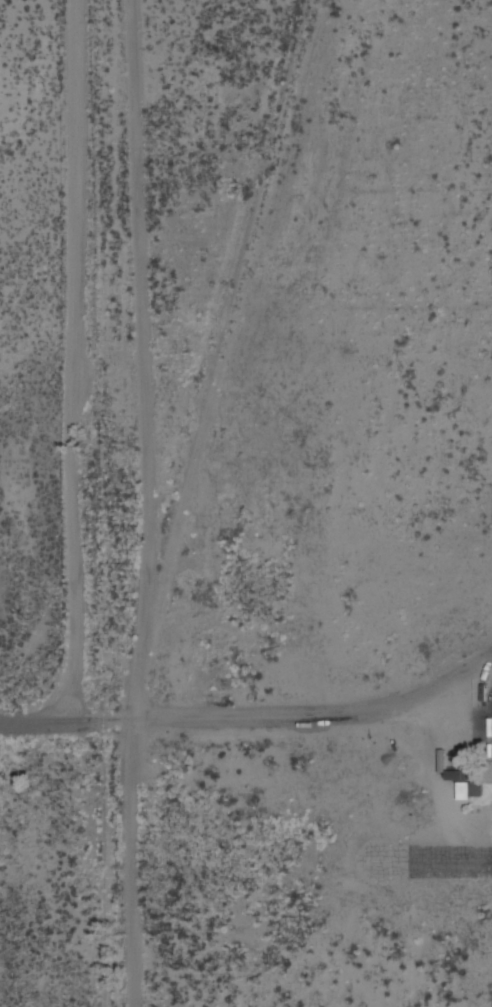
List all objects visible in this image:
road: (70, 361)
airport: (298, 499)
road: (157, 503)
road: (28, 721)
road: (184, 721)
airport taxiway: (449, 861)

